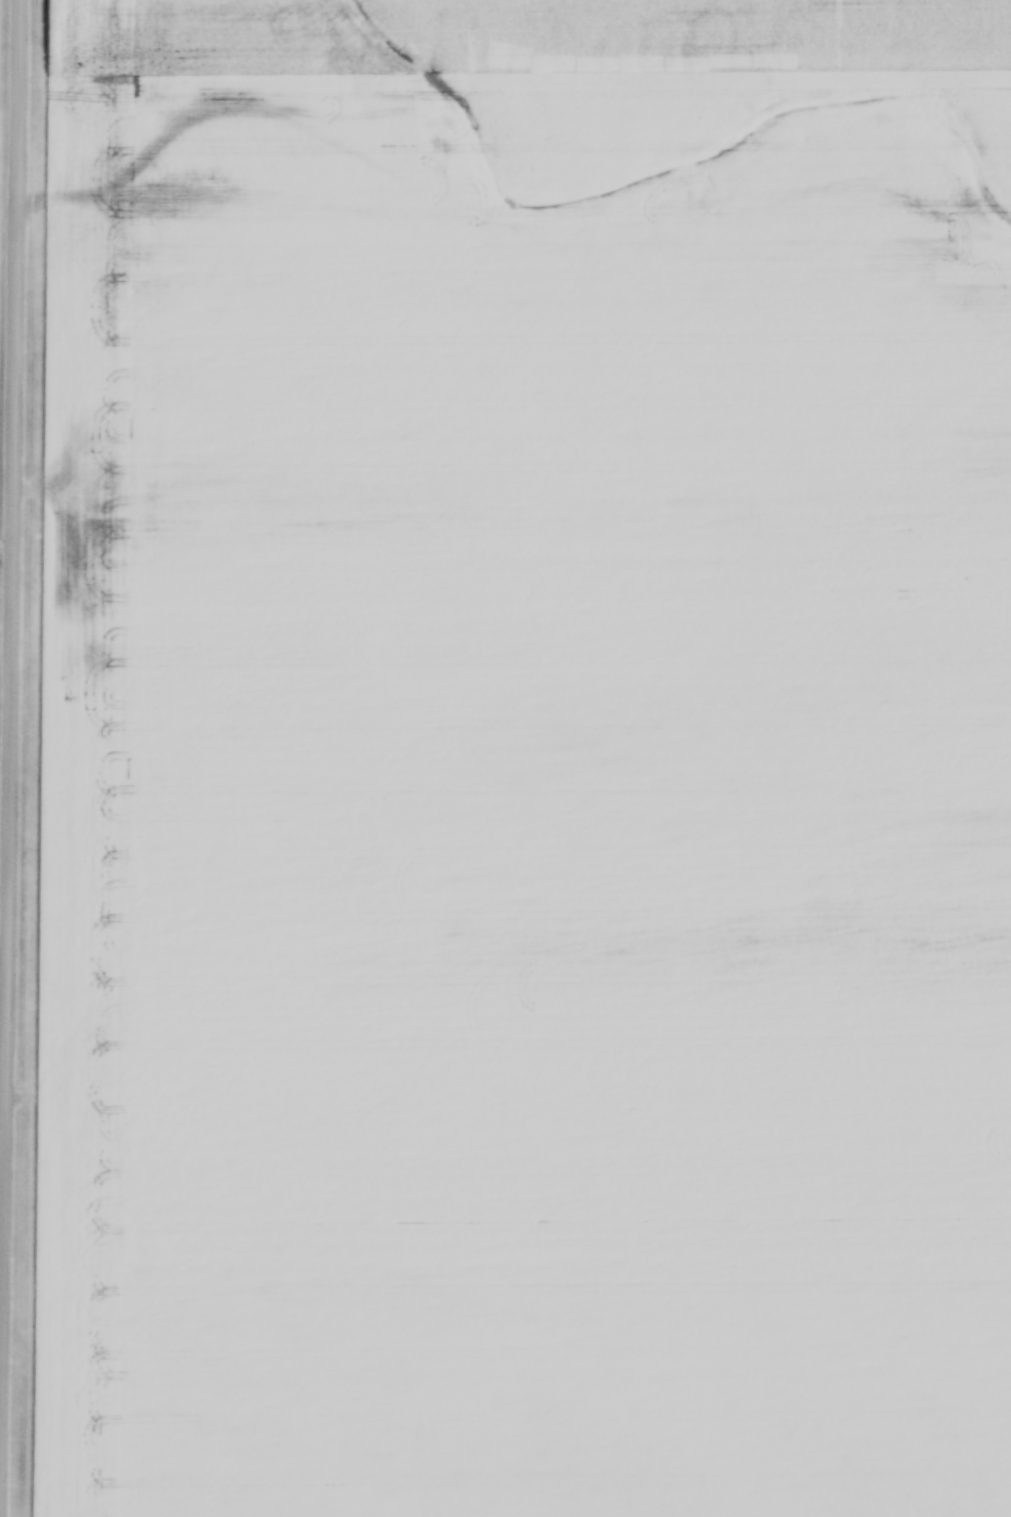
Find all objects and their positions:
road: (7, 562)

